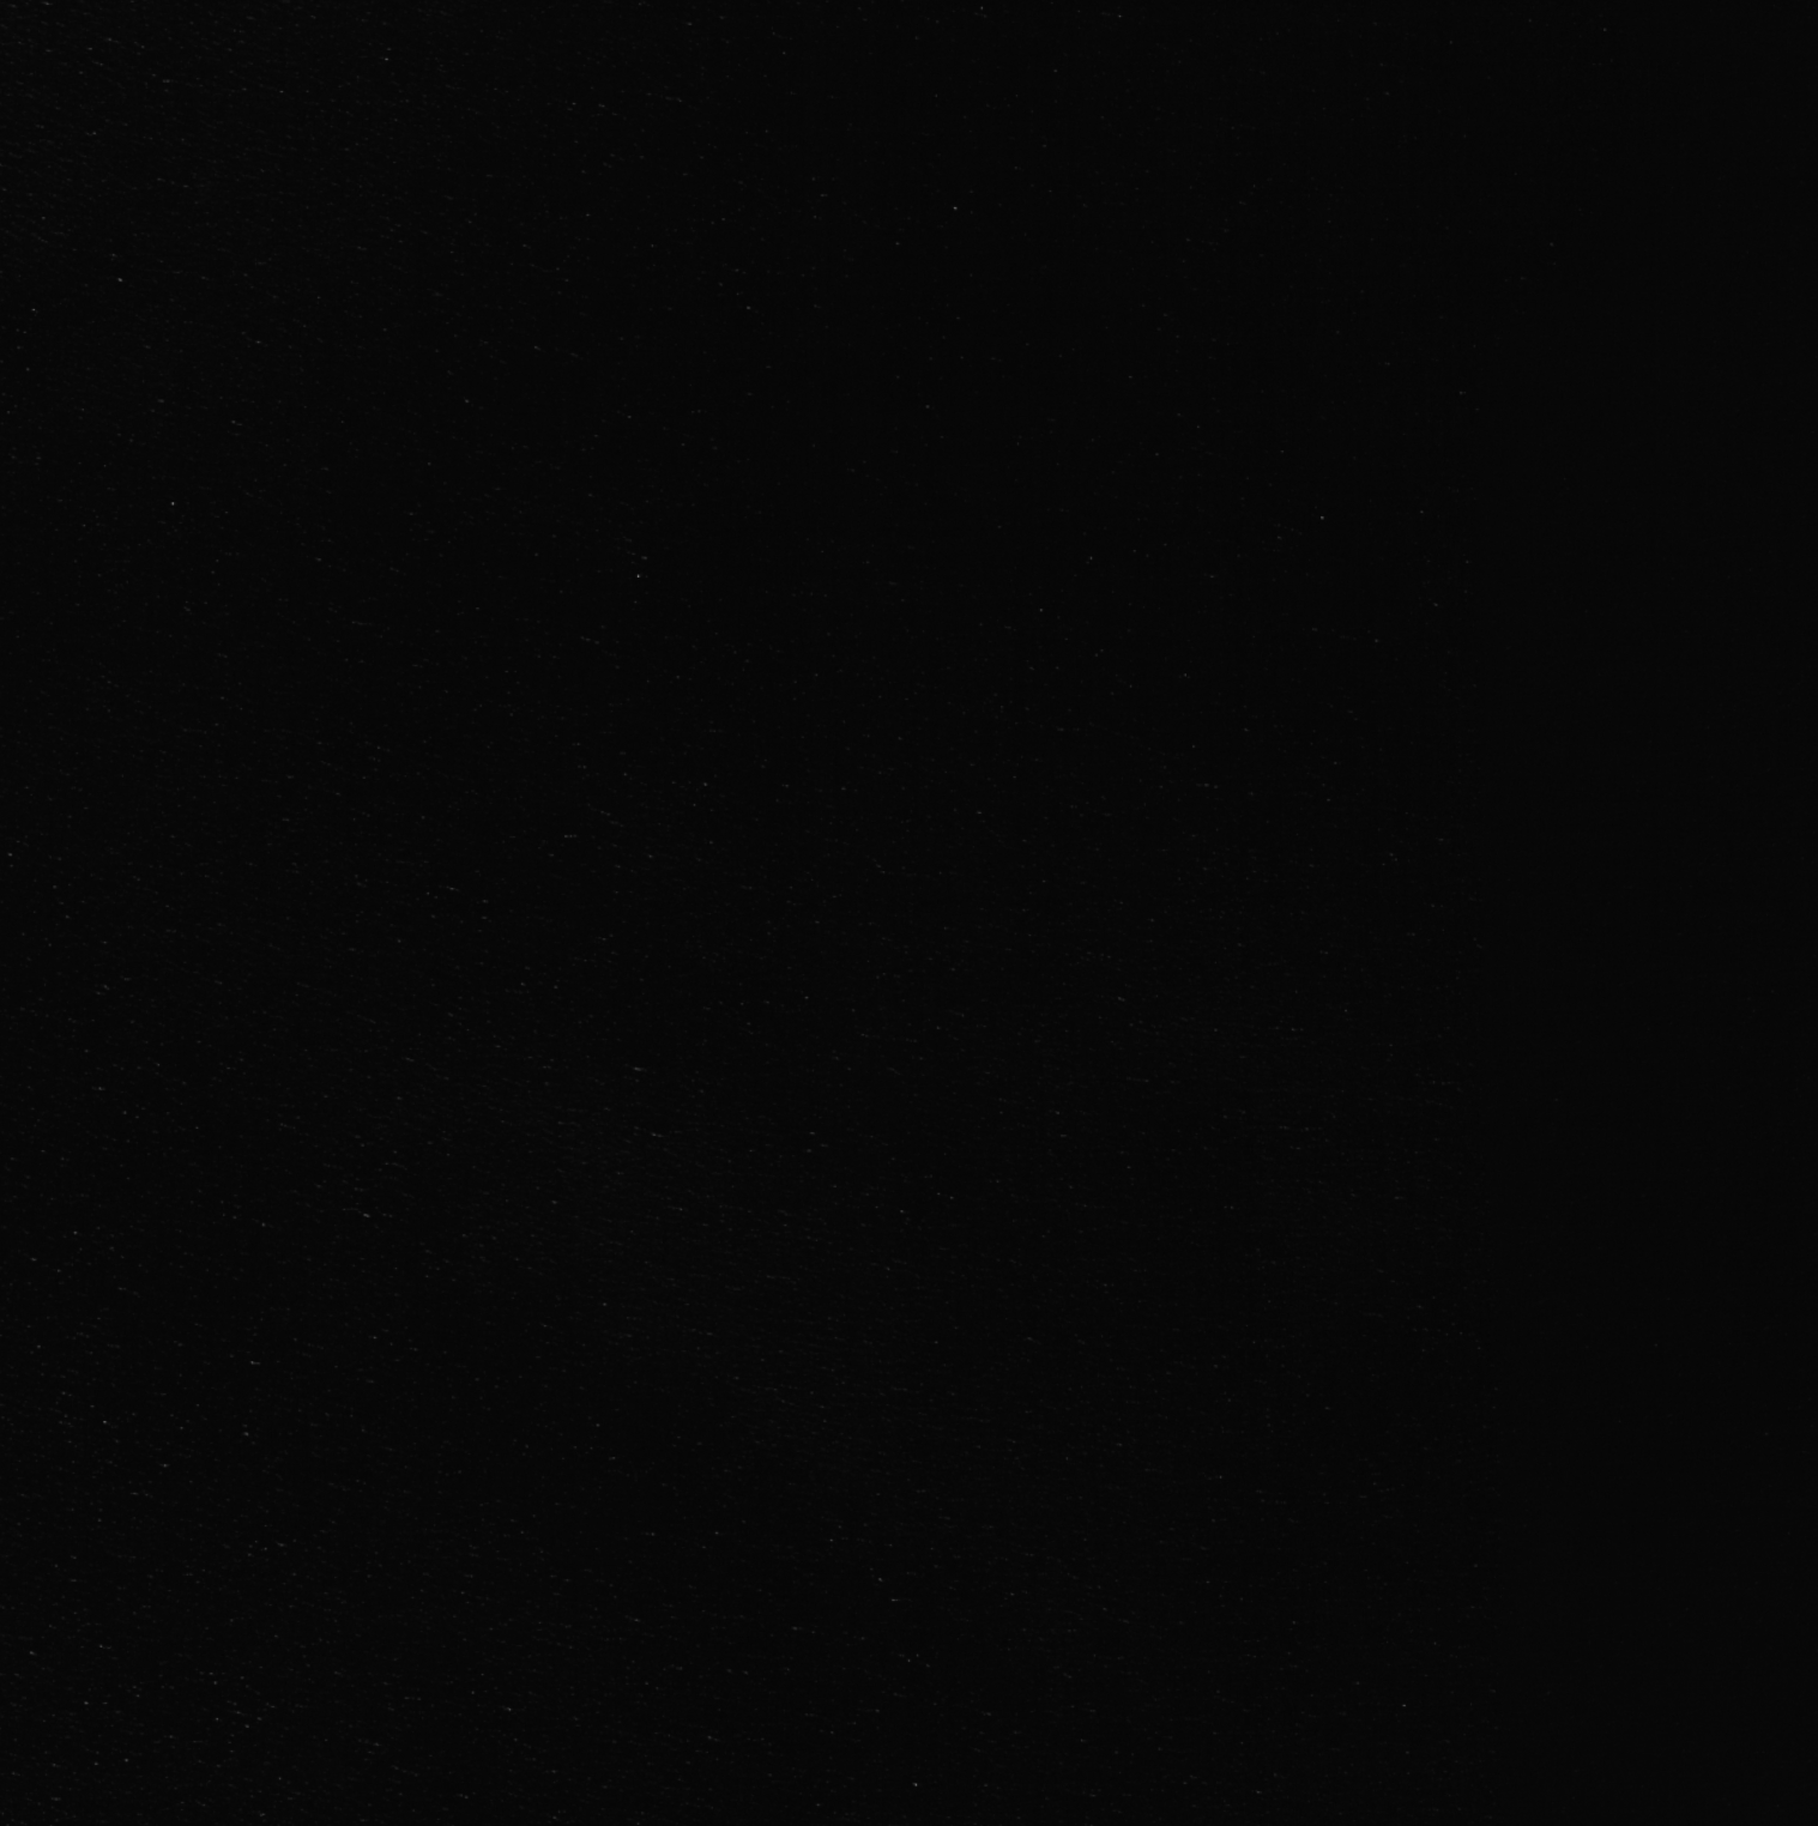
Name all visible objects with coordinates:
river: (796, 1126)

